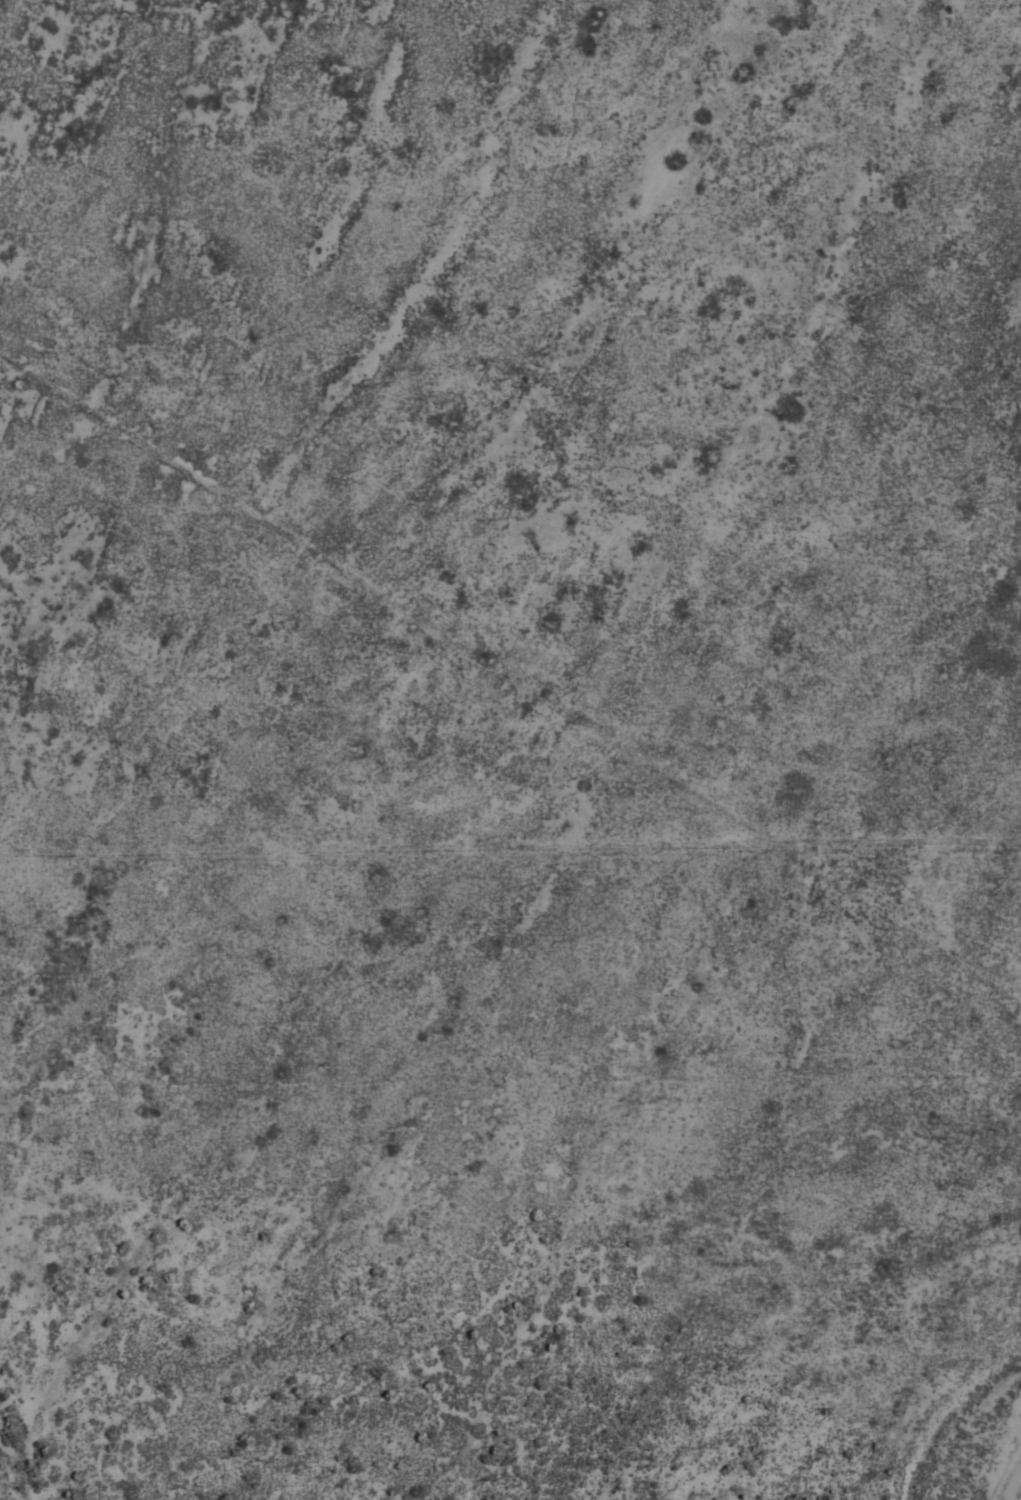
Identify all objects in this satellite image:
road: (512, 693)

